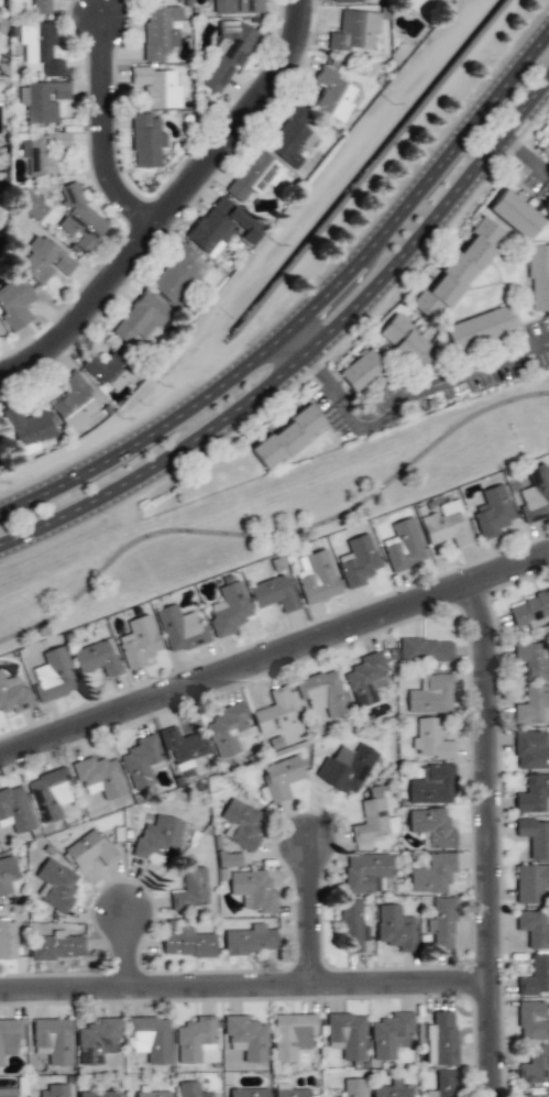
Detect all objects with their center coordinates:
building: (152, 0)
building: (344, 1)
building: (439, 1)
building: (42, 4)
building: (235, 7)
building: (160, 31)
building: (353, 31)
building: (40, 47)
building: (226, 56)
building: (156, 87)
building: (333, 95)
building: (42, 101)
road: (94, 134)
building: (292, 138)
building: (146, 141)
building: (546, 147)
building: (41, 152)
road: (526, 156)
building: (253, 176)
road: (421, 182)
road: (165, 202)
building: (30, 205)
building: (515, 215)
building: (79, 219)
building: (221, 227)
road: (435, 228)
building: (44, 260)
building: (459, 270)
building: (175, 275)
building: (538, 278)
building: (14, 304)
building: (140, 319)
building: (480, 328)
road: (294, 343)
building: (408, 345)
building: (108, 371)
building: (361, 371)
road: (408, 394)
building: (74, 404)
building: (28, 429)
road: (149, 432)
building: (286, 437)
road: (158, 463)
building: (535, 493)
building: (492, 512)
road: (274, 516)
building: (447, 525)
building: (403, 546)
building: (358, 561)
building: (316, 577)
building: (274, 593)
building: (228, 610)
building: (529, 610)
building: (180, 629)
building: (139, 641)
building: (425, 649)
road: (273, 651)
building: (97, 658)
building: (531, 660)
building: (53, 676)
building: (365, 679)
building: (322, 693)
building: (13, 694)
building: (431, 694)
building: (532, 705)
building: (274, 712)
building: (228, 729)
building: (430, 741)
building: (183, 745)
building: (531, 750)
building: (140, 761)
building: (347, 768)
building: (99, 777)
building: (281, 777)
building: (431, 786)
building: (50, 794)
building: (534, 794)
building: (14, 810)
building: (371, 818)
building: (242, 823)
building: (431, 827)
road: (486, 836)
building: (535, 837)
building: (158, 838)
building: (89, 849)
building: (228, 859)
building: (365, 873)
building: (432, 874)
building: (7, 875)
building: (530, 882)
building: (56, 885)
building: (190, 890)
building: (252, 890)
road: (306, 915)
building: (441, 924)
building: (351, 926)
building: (395, 928)
building: (534, 929)
building: (8, 939)
building: (250, 940)
building: (187, 944)
building: (56, 946)
road: (134, 952)
building: (535, 976)
road: (244, 988)
building: (532, 1021)
building: (290, 1035)
building: (345, 1035)
building: (392, 1035)
building: (246, 1038)
building: (9, 1039)
building: (149, 1039)
building: (195, 1039)
building: (441, 1039)
building: (52, 1041)
building: (97, 1041)
building: (535, 1065)
building: (443, 1084)
building: (353, 1087)
building: (190, 1089)
building: (393, 1089)
building: (53, 1091)
building: (289, 1091)
building: (8, 1093)
building: (248, 1093)
building: (99, 1094)
building: (150, 1094)
building: (531, 1095)

